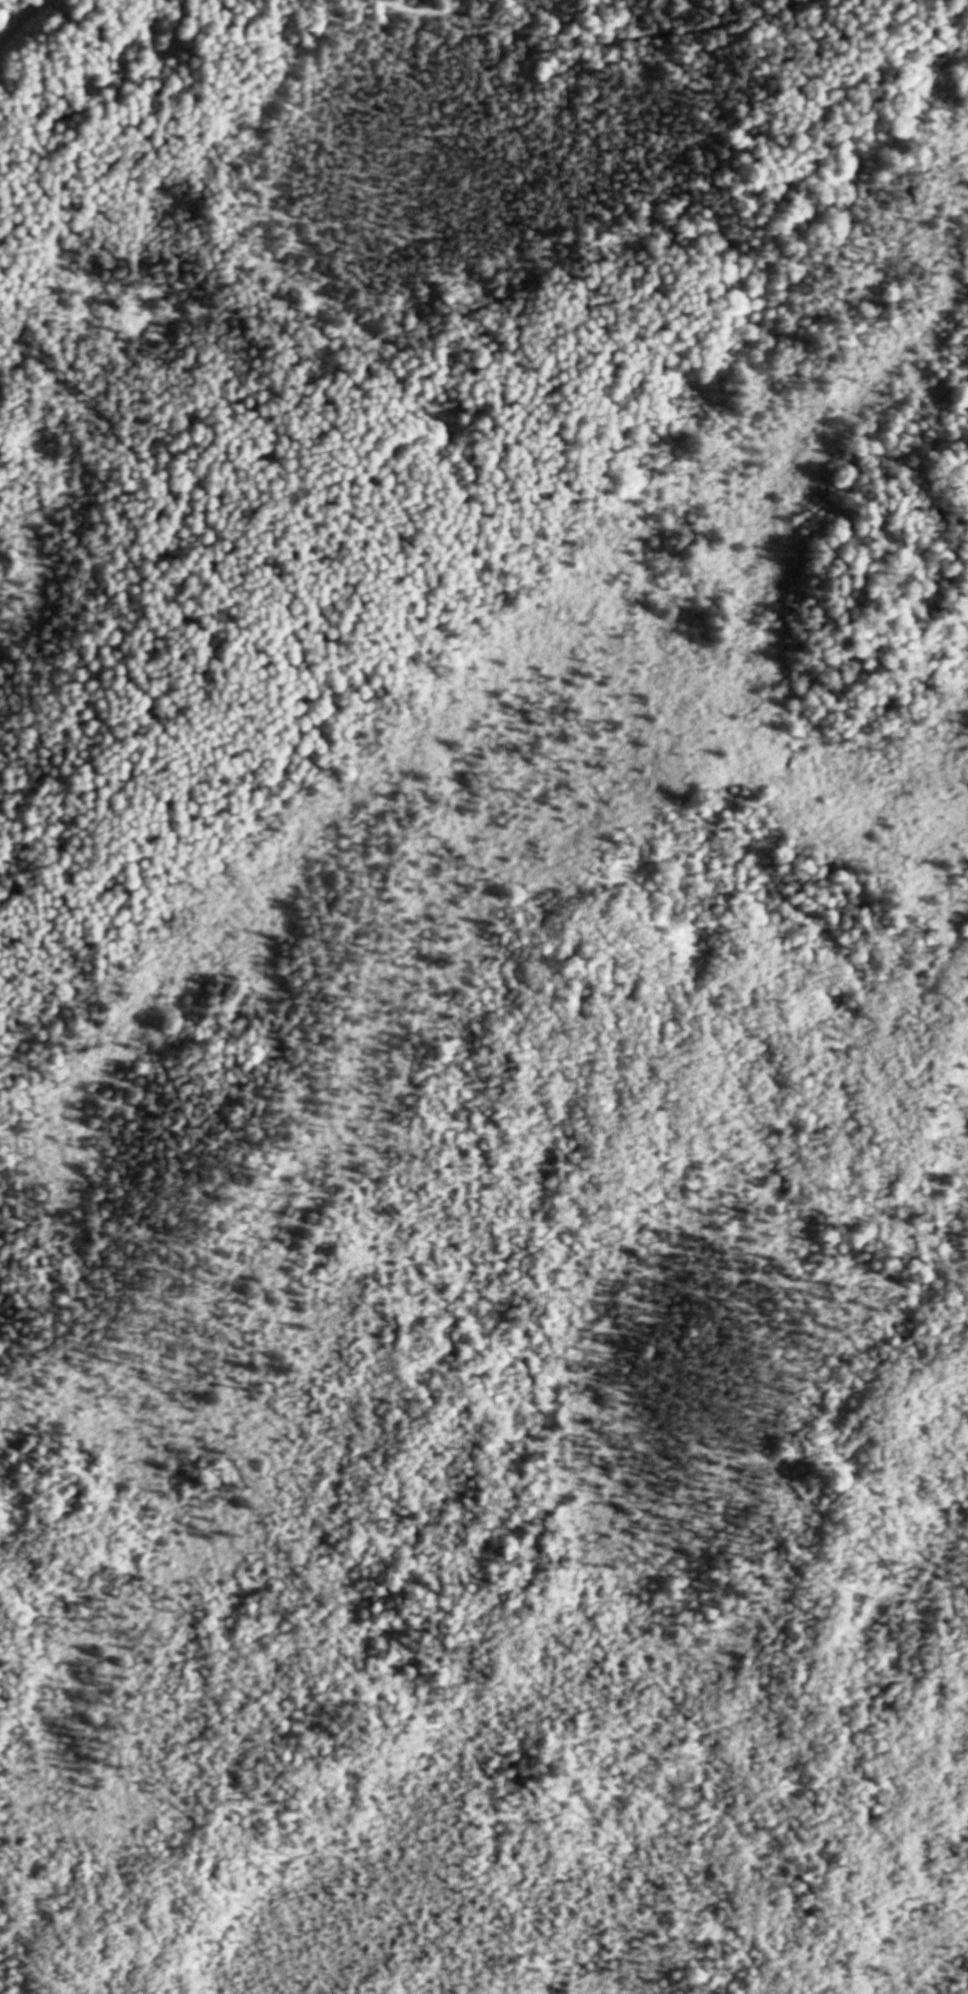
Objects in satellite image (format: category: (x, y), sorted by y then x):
road: (18, 19)

